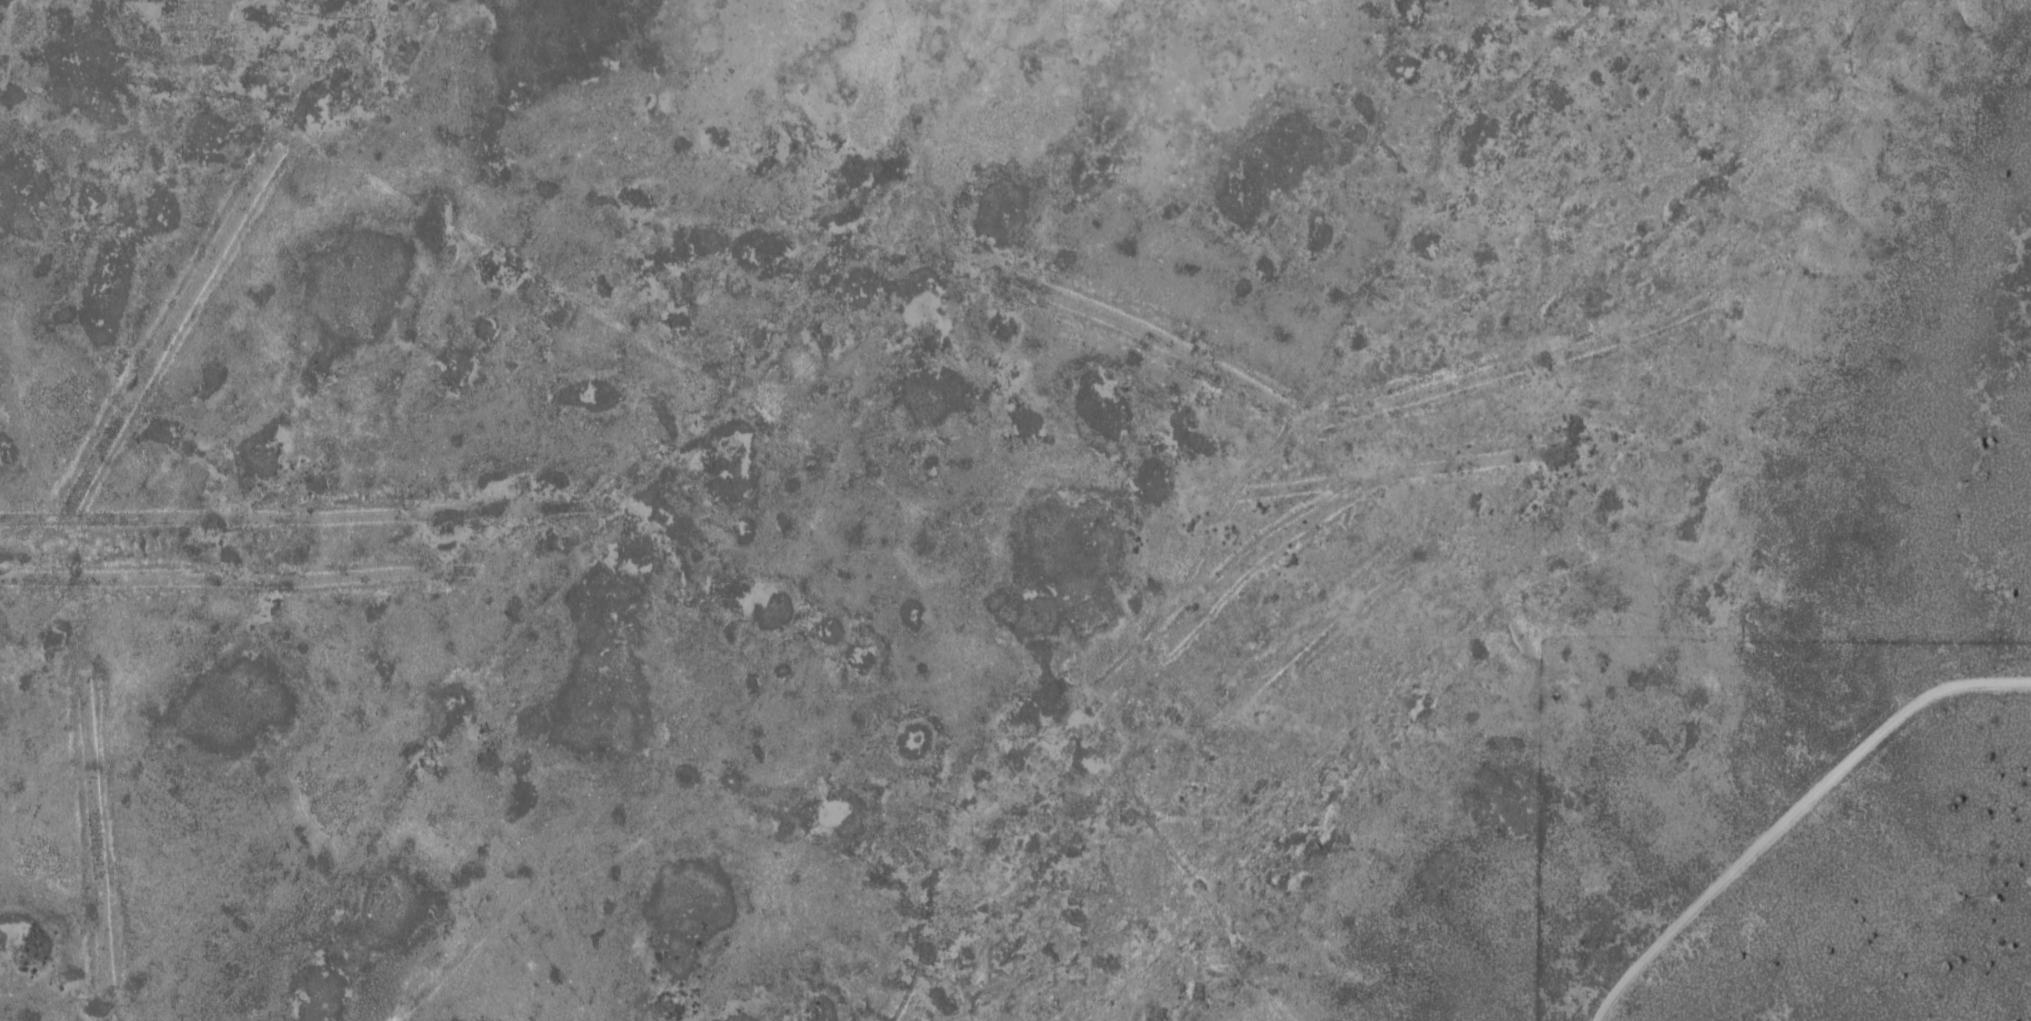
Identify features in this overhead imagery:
road: (1778, 800)

